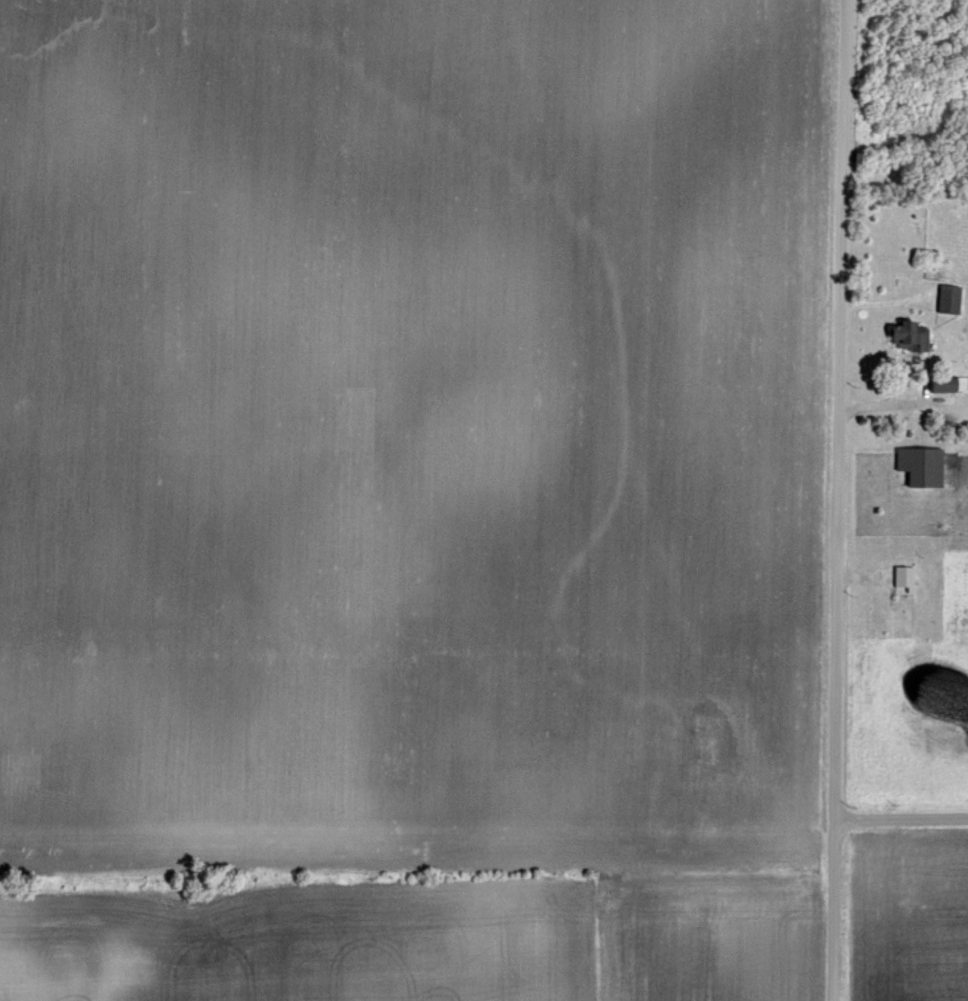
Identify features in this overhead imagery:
crop: (414, 494)
road: (839, 500)
building: (907, 579)
road: (901, 820)

